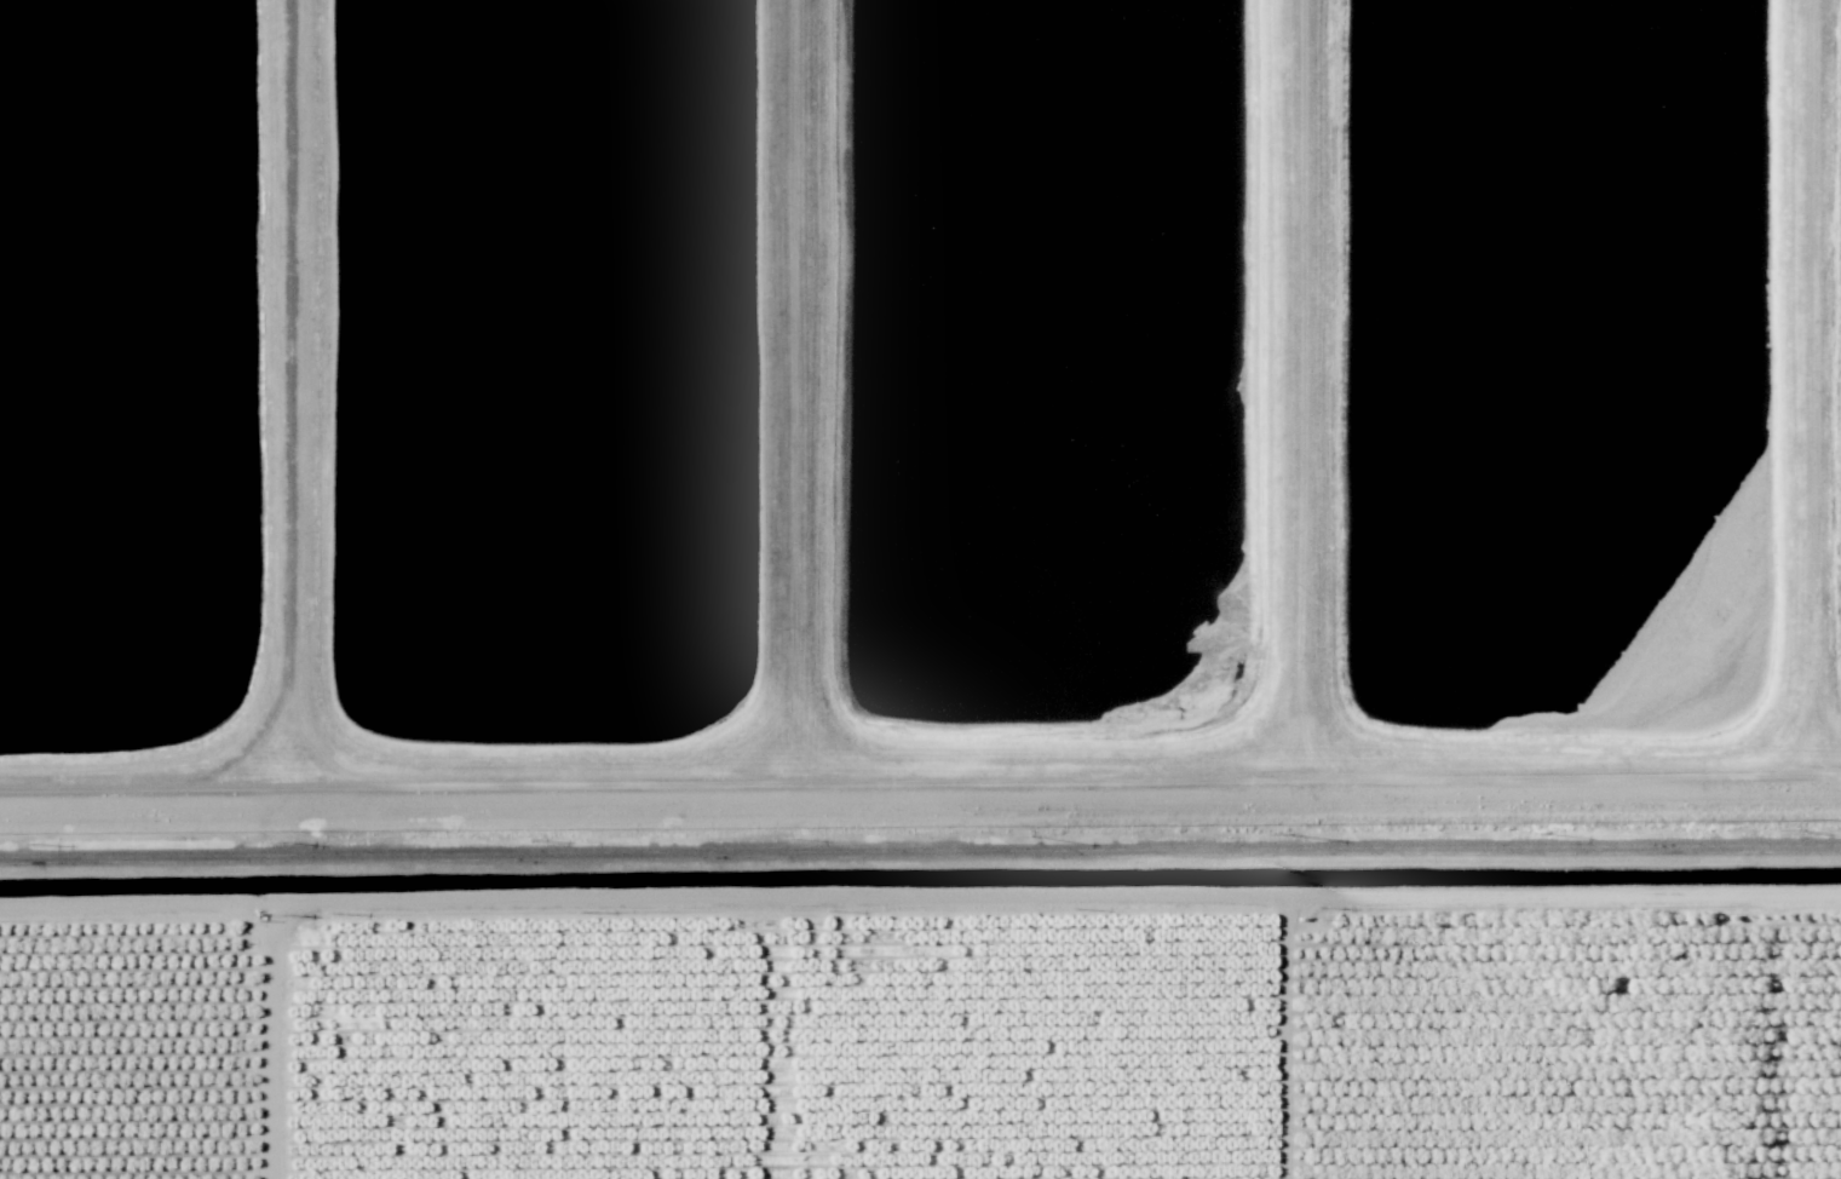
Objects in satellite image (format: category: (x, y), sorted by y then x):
wastewater plant: (116, 361)
wastewater plant: (1048, 362)
wastewater plant: (1564, 362)
wastewater plant: (546, 367)
road: (1817, 383)
road: (1304, 385)
road: (800, 387)
road: (287, 390)
wastewater plant: (919, 429)
road: (920, 773)
road: (920, 850)
road: (920, 897)

